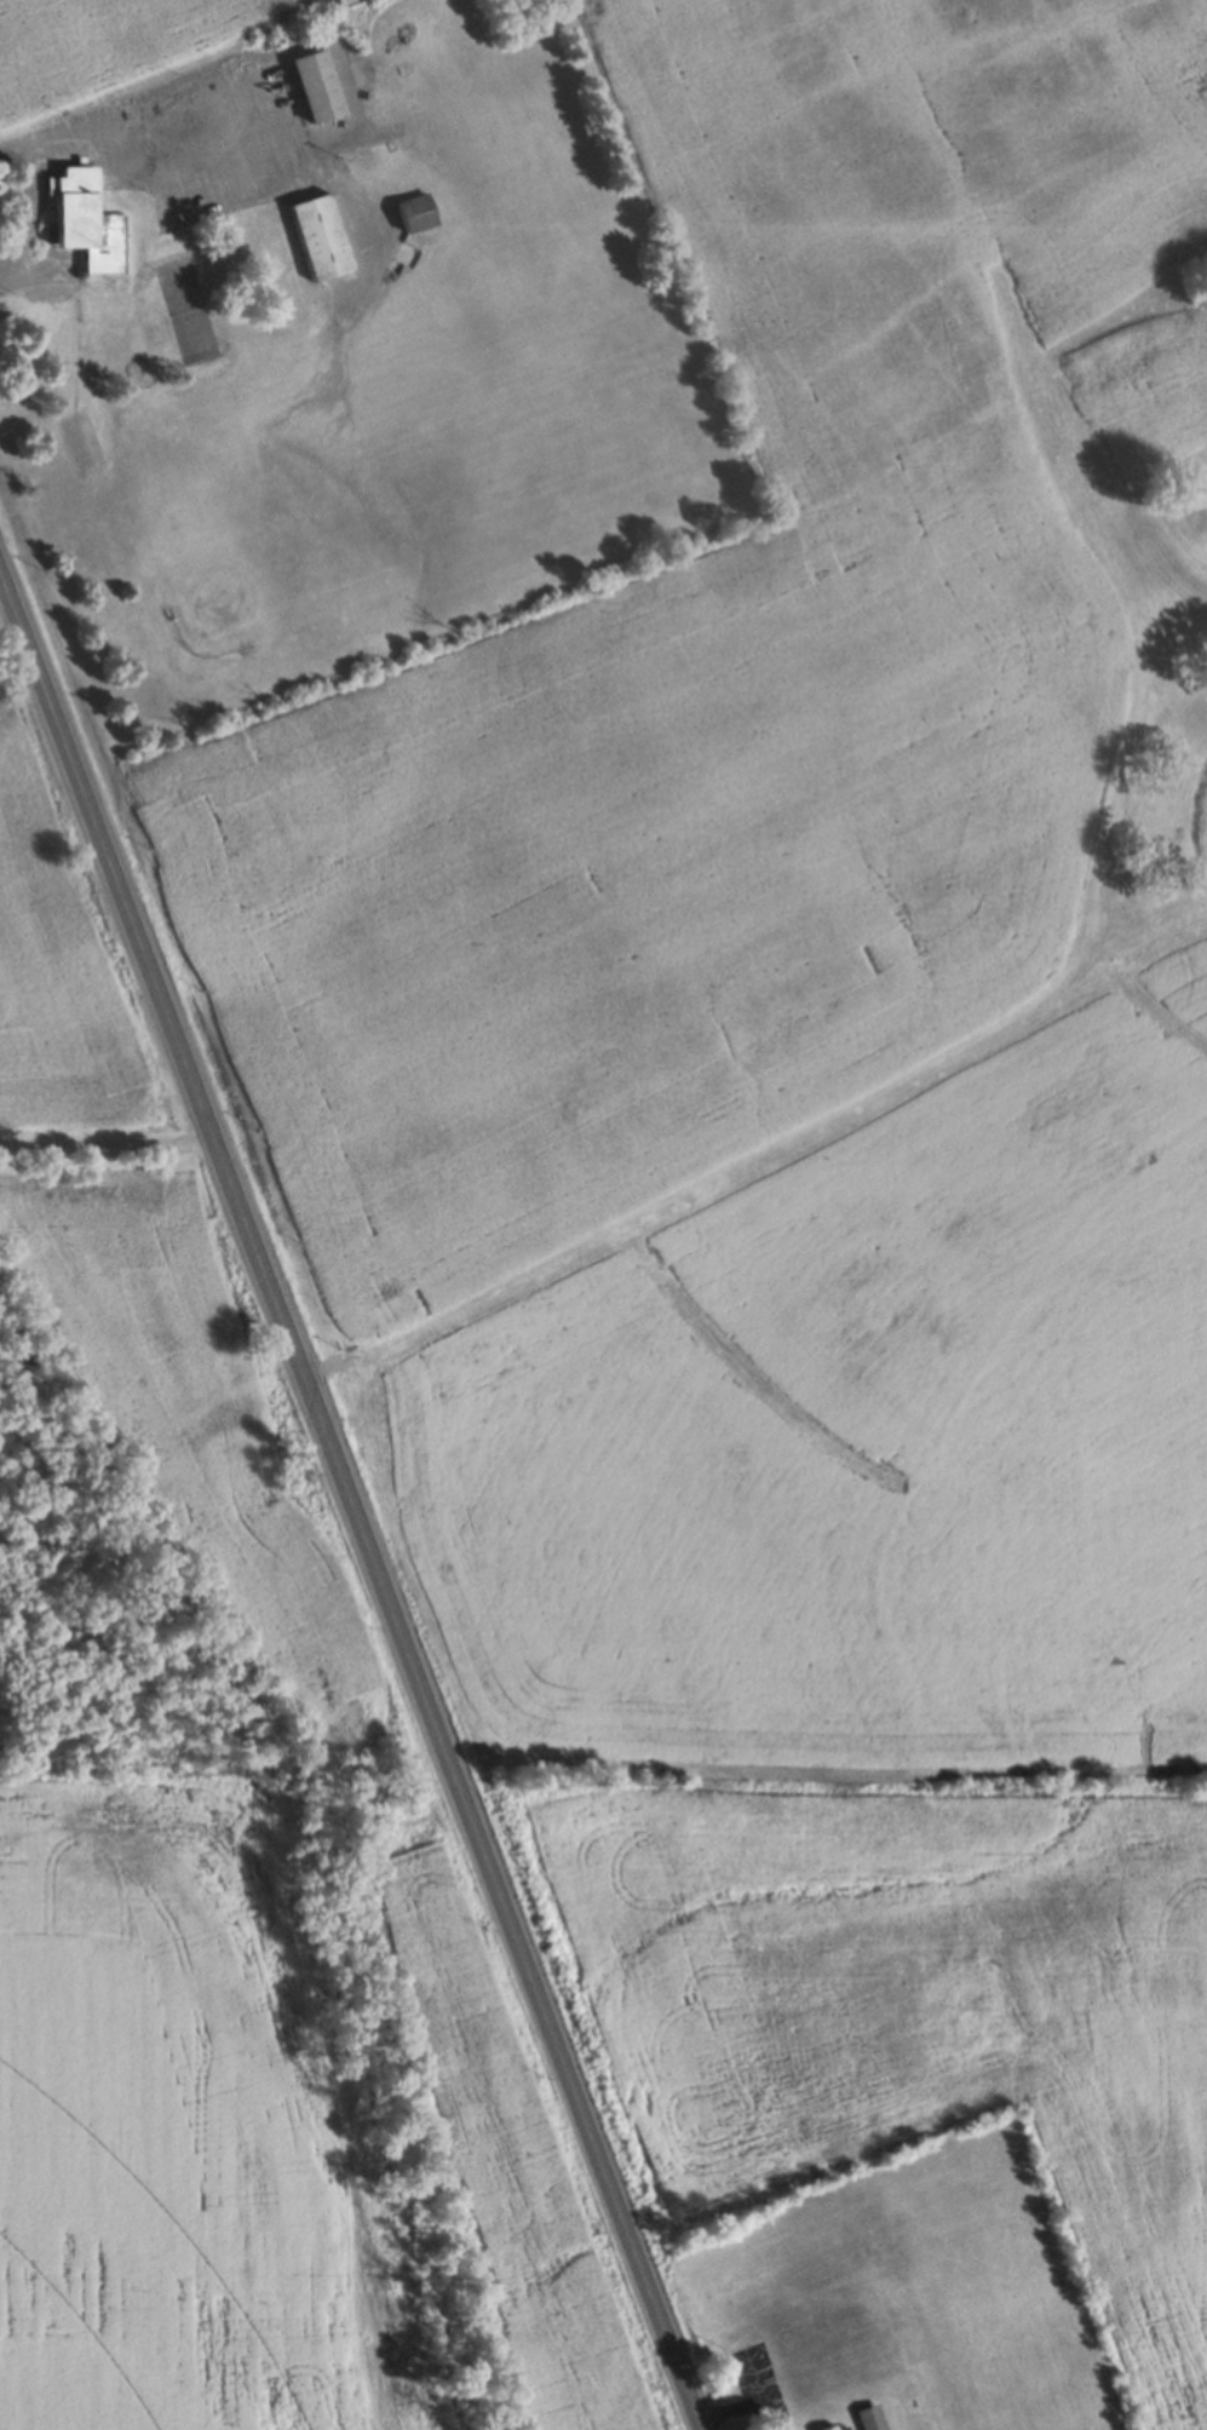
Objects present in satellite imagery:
building: (317, 84)
road: (180, 134)
road: (24, 203)
building: (415, 211)
building: (85, 218)
building: (320, 235)
road: (105, 1141)
road: (349, 1506)
building: (869, 2417)
building: (829, 2428)

